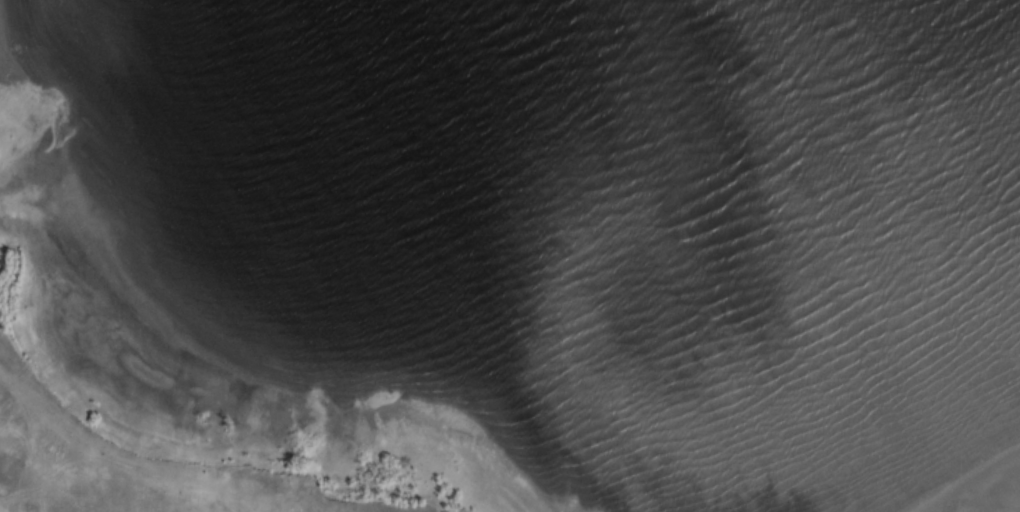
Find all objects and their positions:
road: (5, 507)

